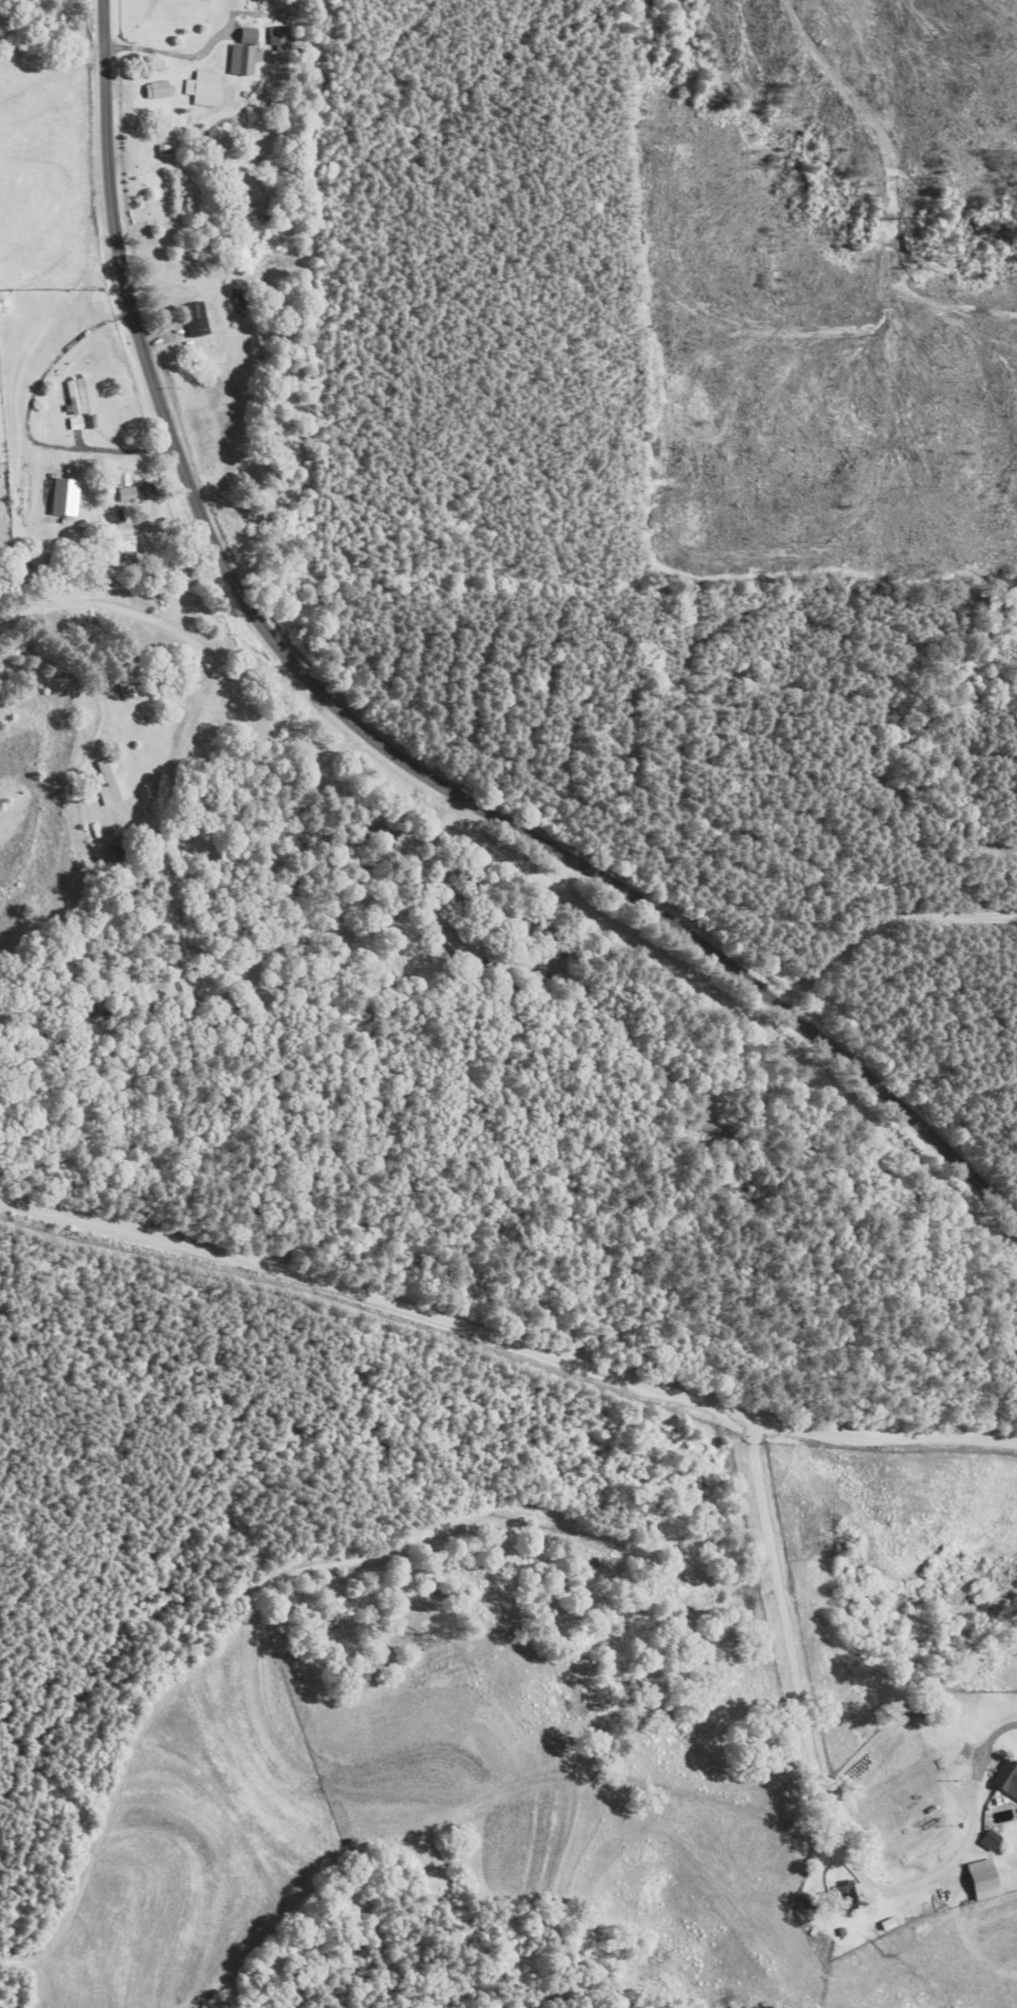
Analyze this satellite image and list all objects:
building: (281, 39)
building: (204, 88)
building: (159, 90)
building: (165, 145)
building: (181, 192)
building: (197, 319)
building: (78, 397)
building: (128, 494)
building: (252, 496)
road: (105, 554)
building: (116, 565)
building: (166, 625)
road: (124, 635)
road: (372, 736)
building: (327, 774)
building: (112, 782)
building: (375, 835)
building: (460, 947)
building: (539, 977)
building: (713, 1129)
road: (658, 1298)
road: (506, 1336)
road: (790, 1625)
road: (990, 1738)
building: (1007, 1778)
building: (846, 1899)

